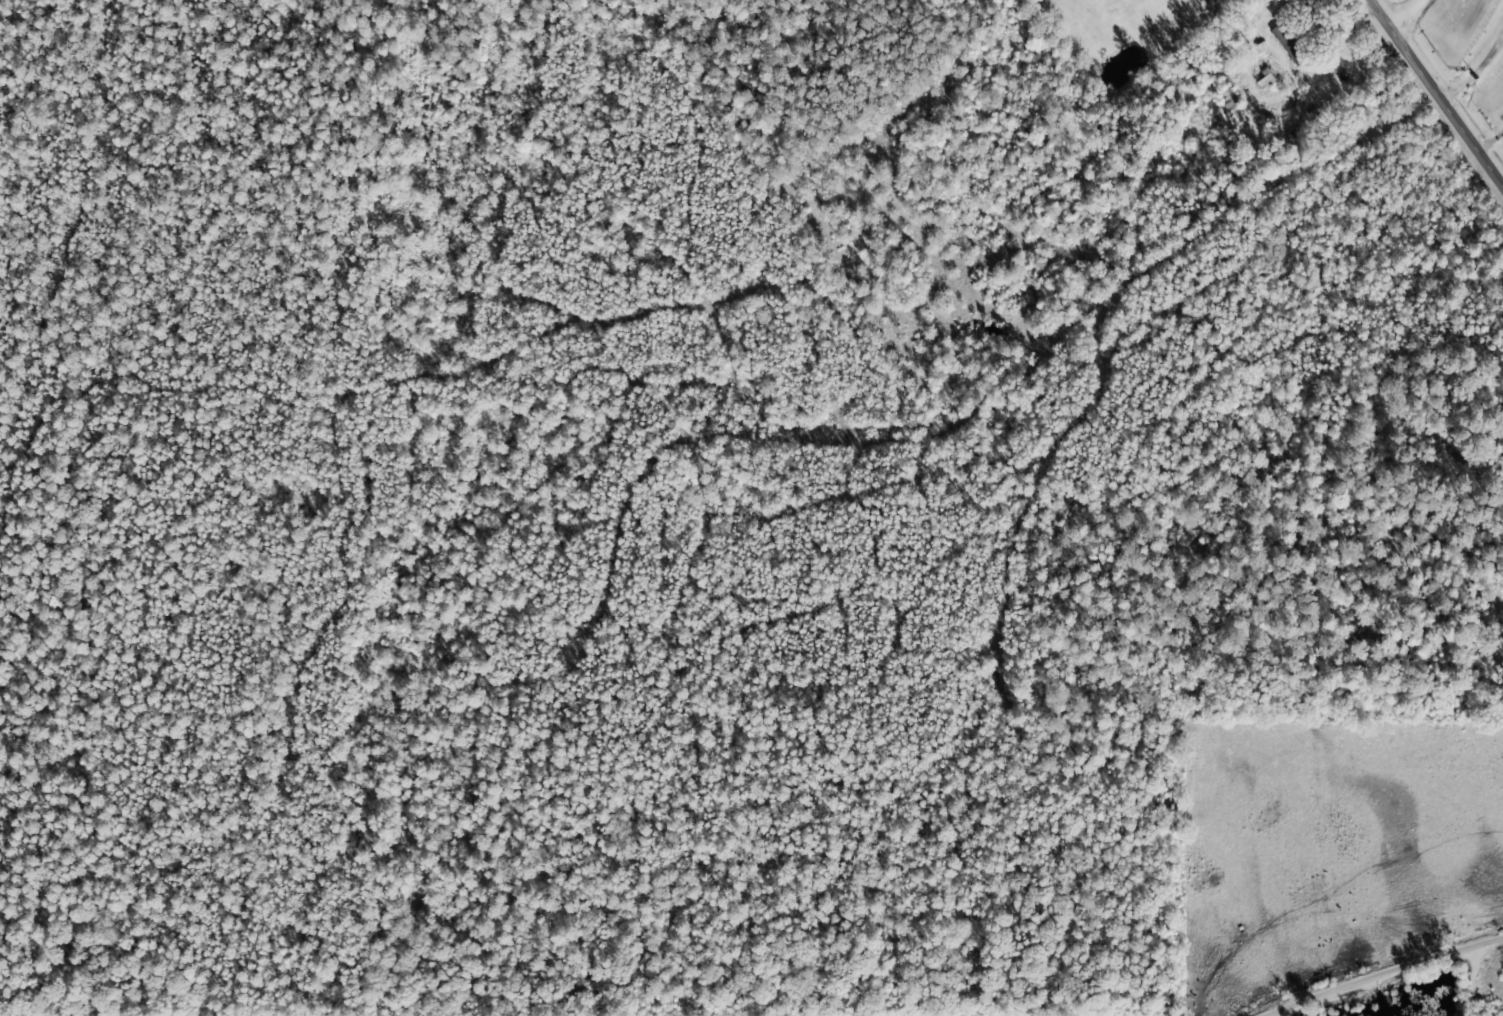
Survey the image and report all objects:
road: (1464, 48)
building: (1265, 79)
road: (1433, 97)
road: (1374, 965)

